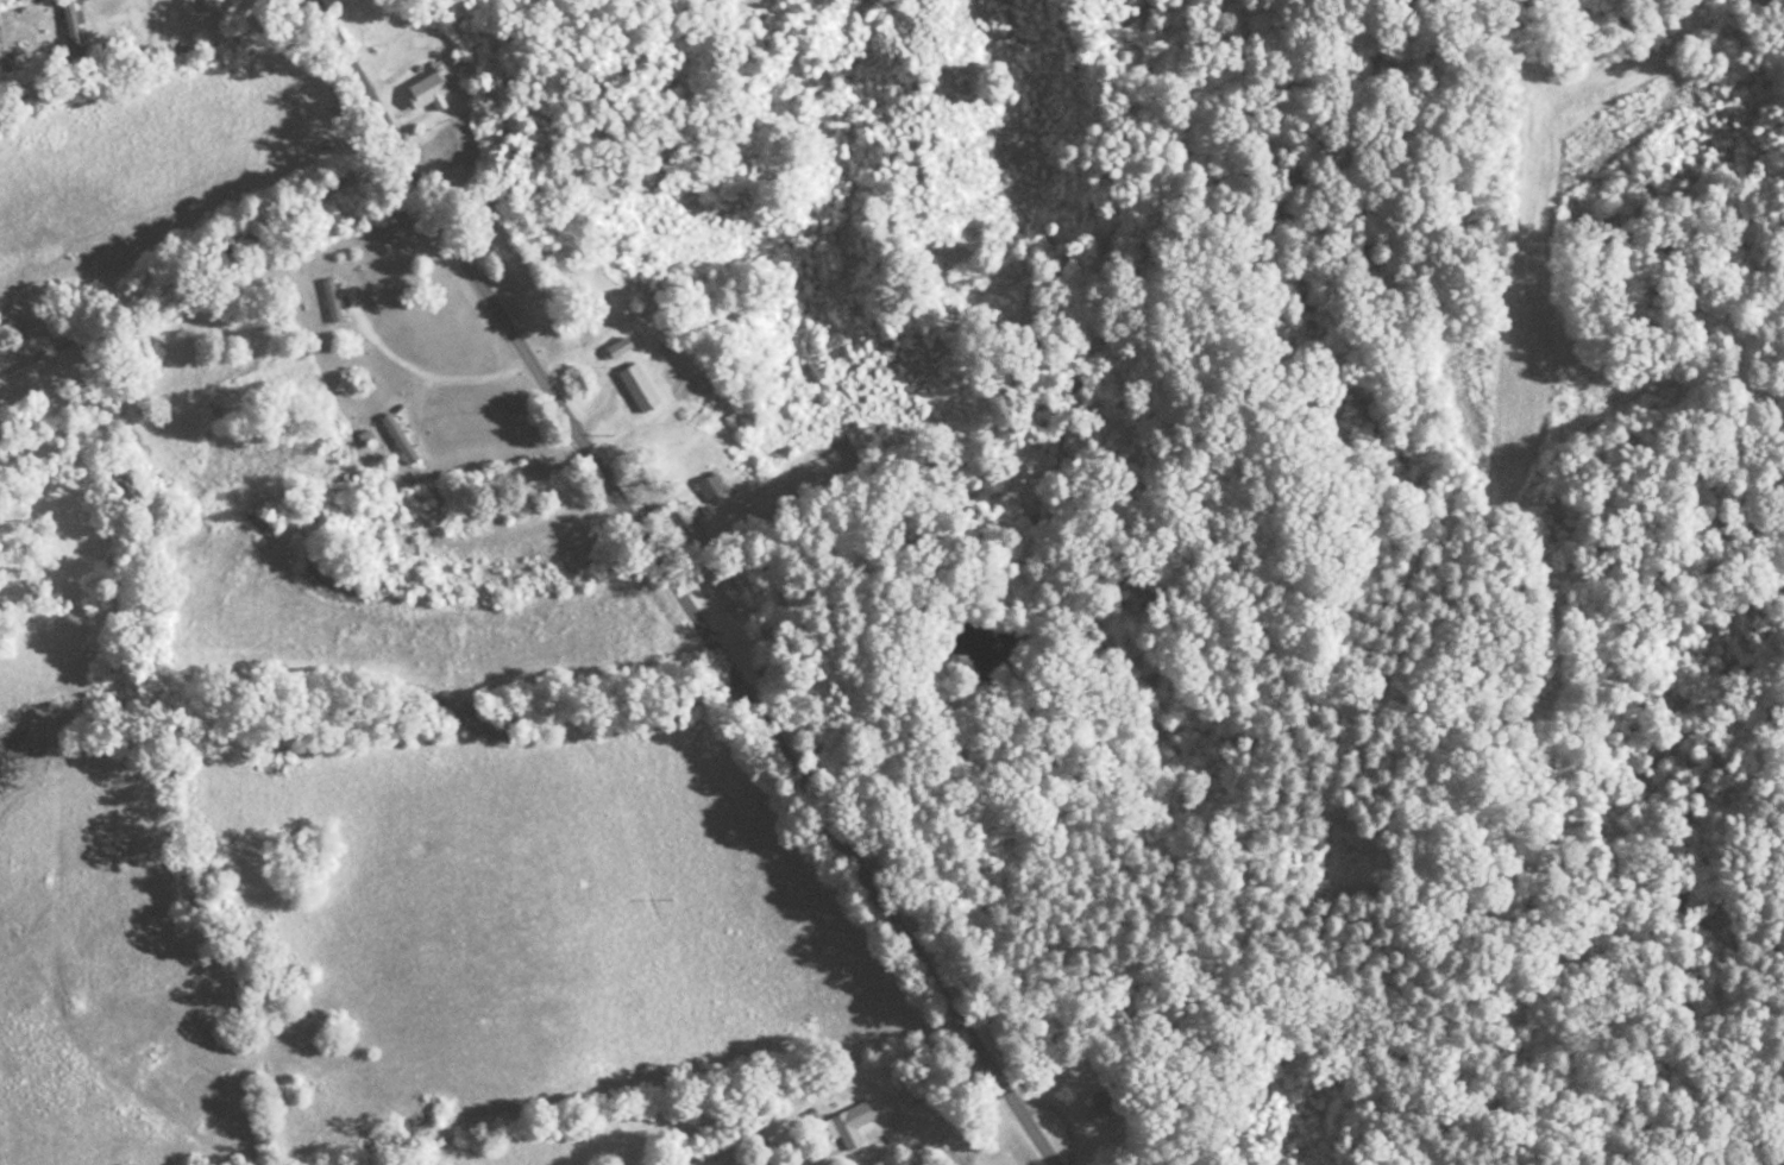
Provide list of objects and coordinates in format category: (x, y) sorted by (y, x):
building: (213, 4)
building: (427, 89)
building: (331, 298)
building: (639, 386)
building: (396, 439)
building: (710, 487)
building: (685, 522)
building: (408, 542)
road: (739, 580)
building: (724, 597)
road: (379, 824)
road: (1450, 1052)
road: (925, 1097)
building: (1111, 1100)
building: (849, 1125)

